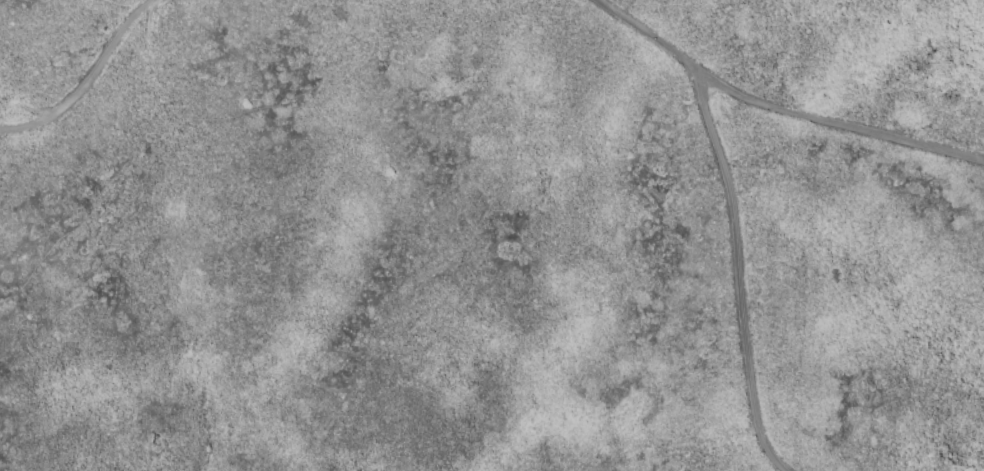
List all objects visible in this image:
road: (648, 33)
road: (85, 79)
road: (835, 127)
road: (737, 271)

